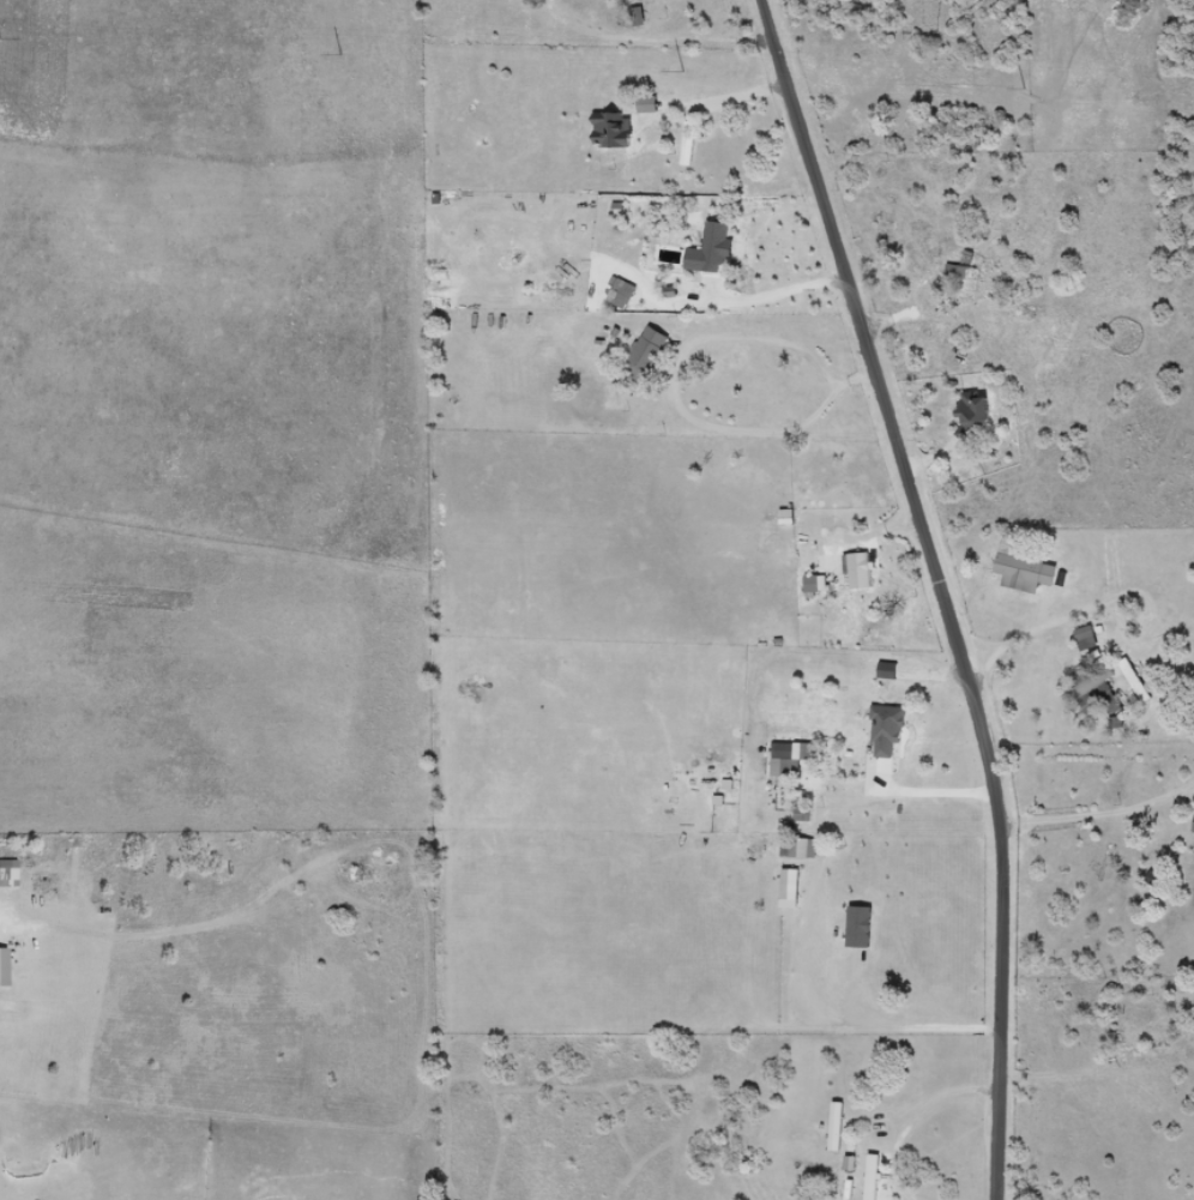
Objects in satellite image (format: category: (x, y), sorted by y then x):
power tower: (0, 38)
power tower: (340, 56)
power tower: (683, 72)
power tower: (1024, 89)
building: (692, 144)
building: (719, 247)
building: (963, 267)
building: (625, 295)
road: (761, 301)
building: (647, 355)
building: (978, 415)
building: (1029, 571)
road: (939, 590)
road: (1087, 639)
building: (1087, 640)
building: (1099, 692)
building: (888, 730)
building: (794, 760)
road: (937, 794)
building: (801, 849)
building: (8, 869)
road: (854, 1029)
road: (916, 1121)
building: (875, 1177)

